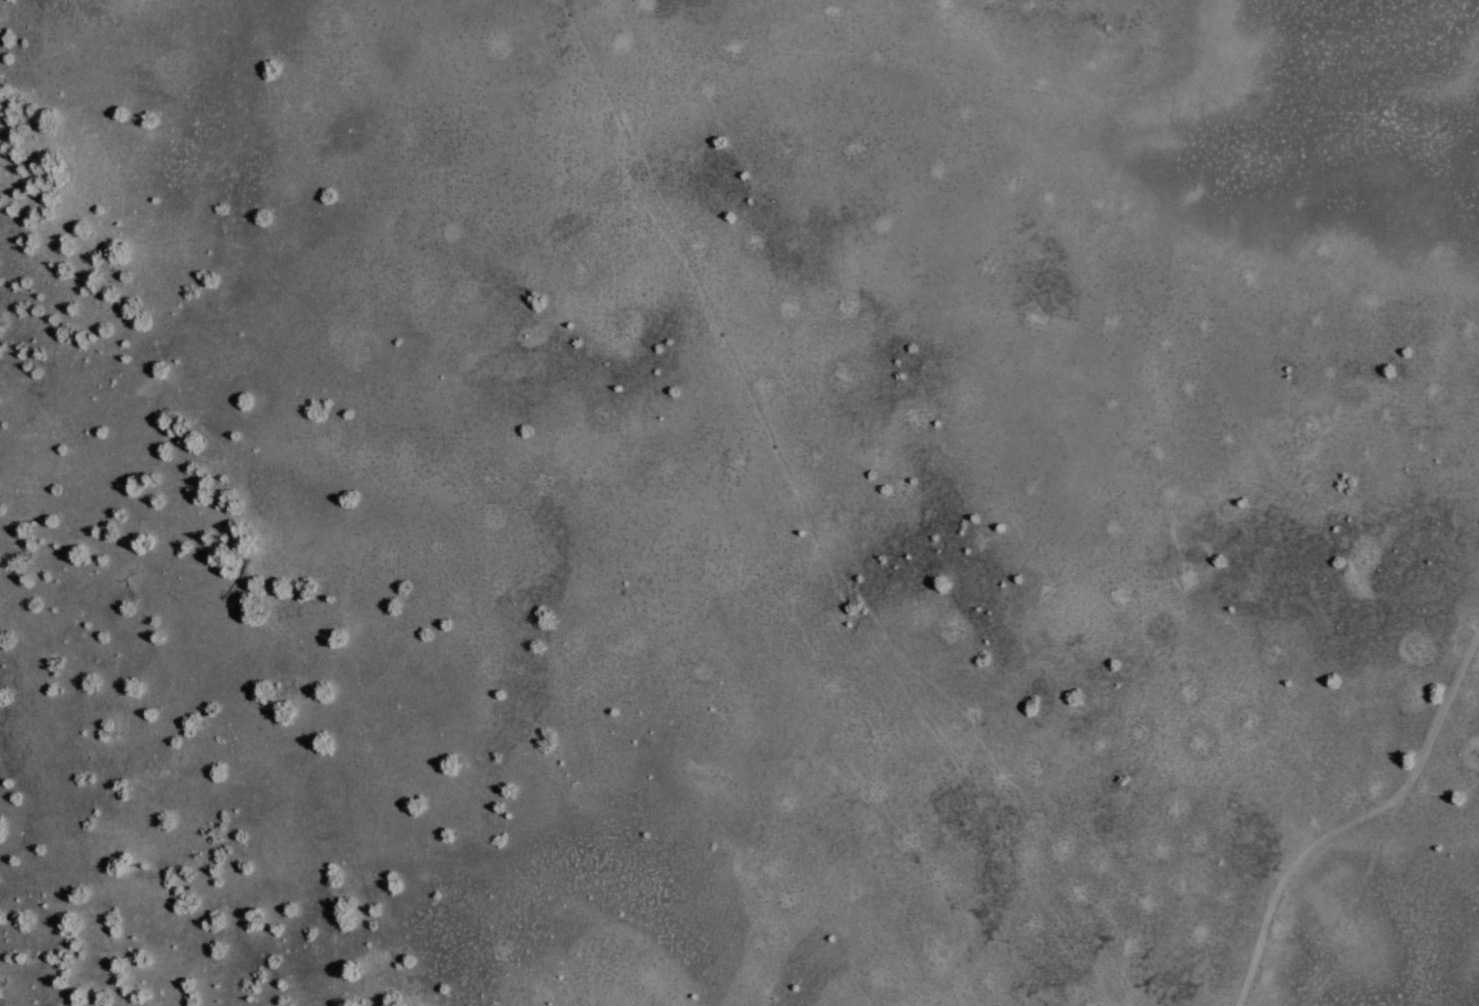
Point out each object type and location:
road: (1360, 823)

